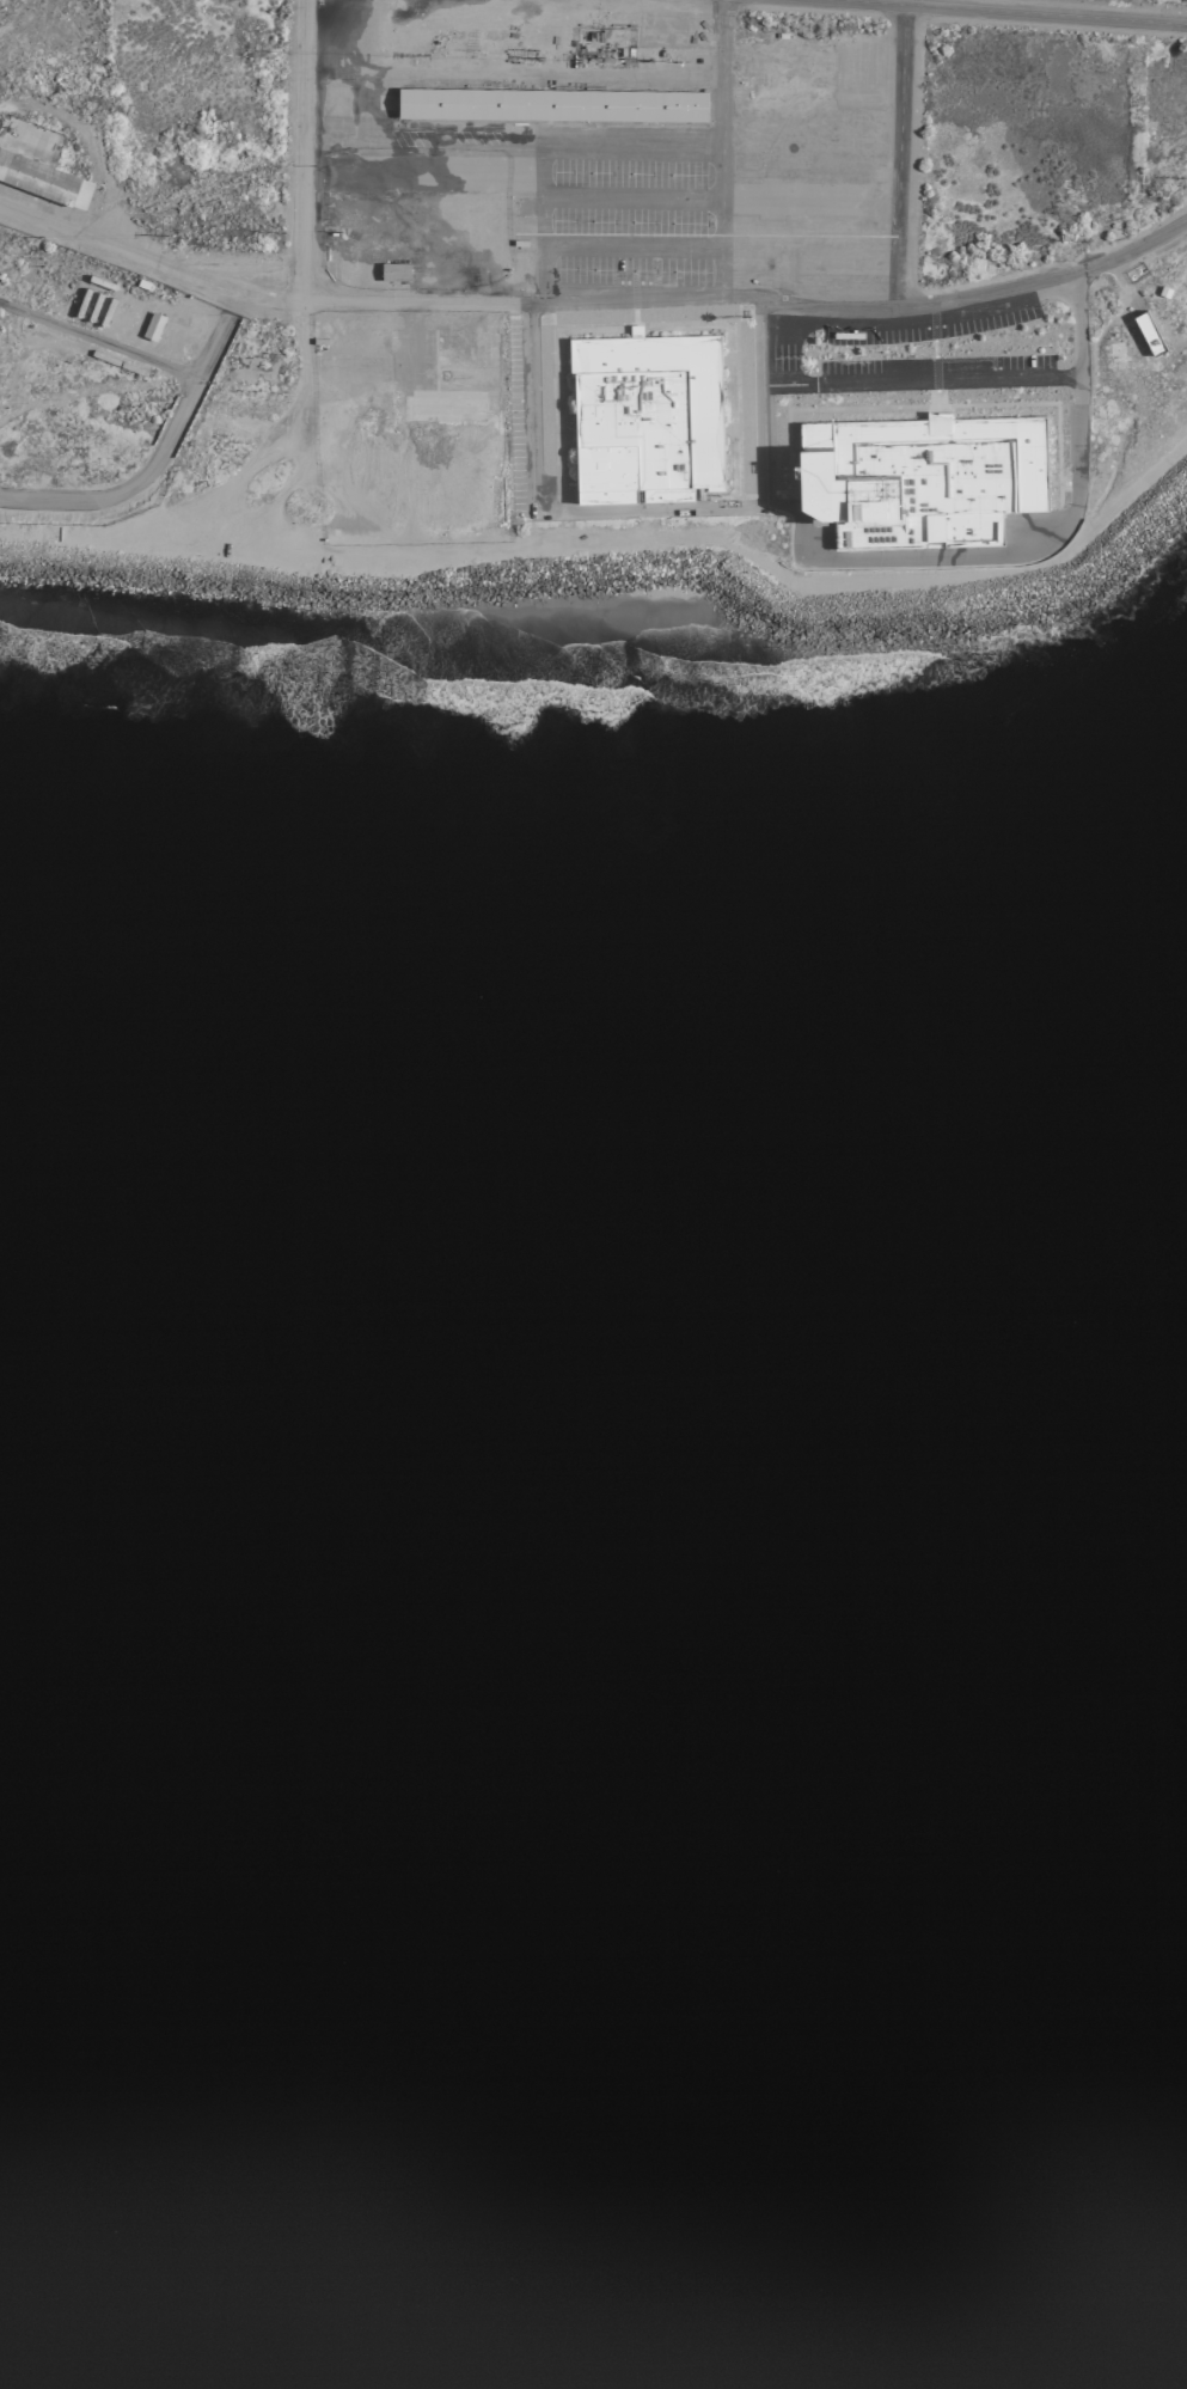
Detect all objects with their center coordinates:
road: (998, 12)
building: (550, 102)
road: (467, 132)
road: (552, 143)
road: (296, 147)
road: (720, 152)
road: (897, 157)
building: (36, 176)
road: (629, 198)
road: (629, 248)
road: (593, 304)
building: (151, 324)
building: (1146, 331)
road: (216, 334)
road: (98, 343)
road: (875, 379)
airport: (573, 387)
building: (644, 415)
road: (760, 442)
road: (126, 485)
road: (819, 561)

